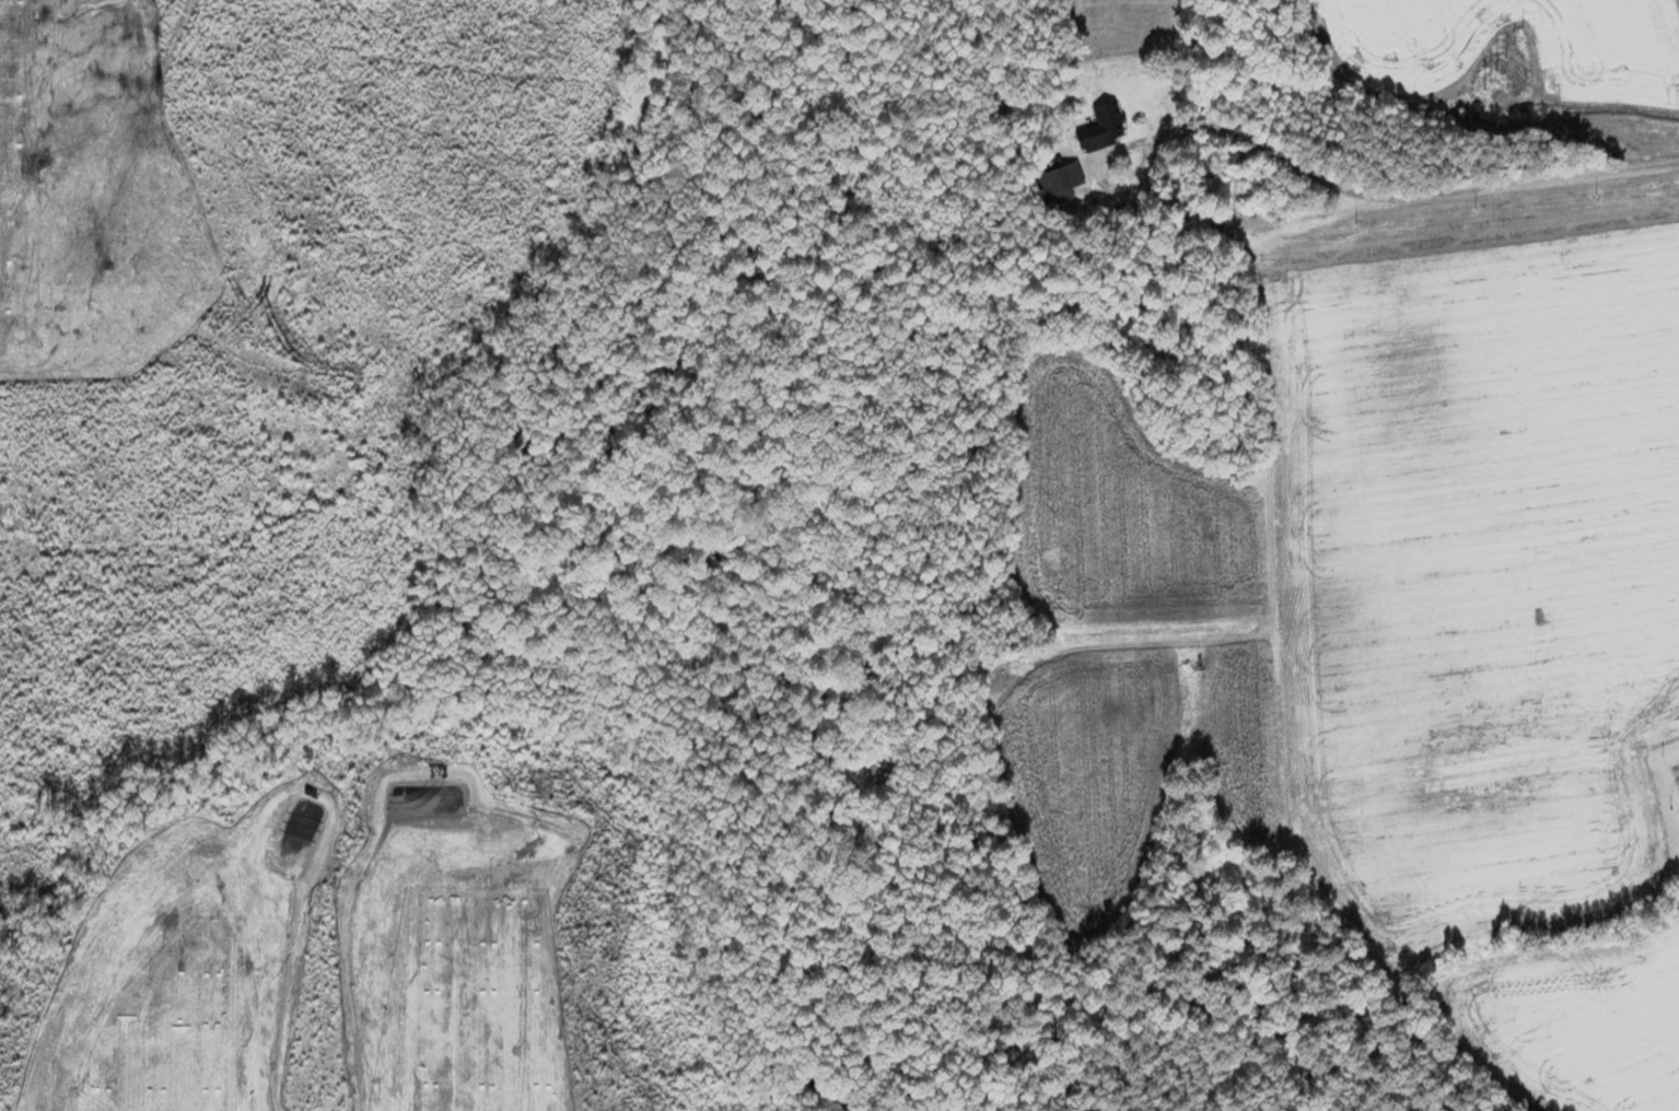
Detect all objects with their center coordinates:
power tower: (1521, 43)
building: (1108, 118)
solar farm: (38, 168)
building: (1064, 182)
road: (1093, 182)
road: (1409, 197)
solar farm: (330, 944)

